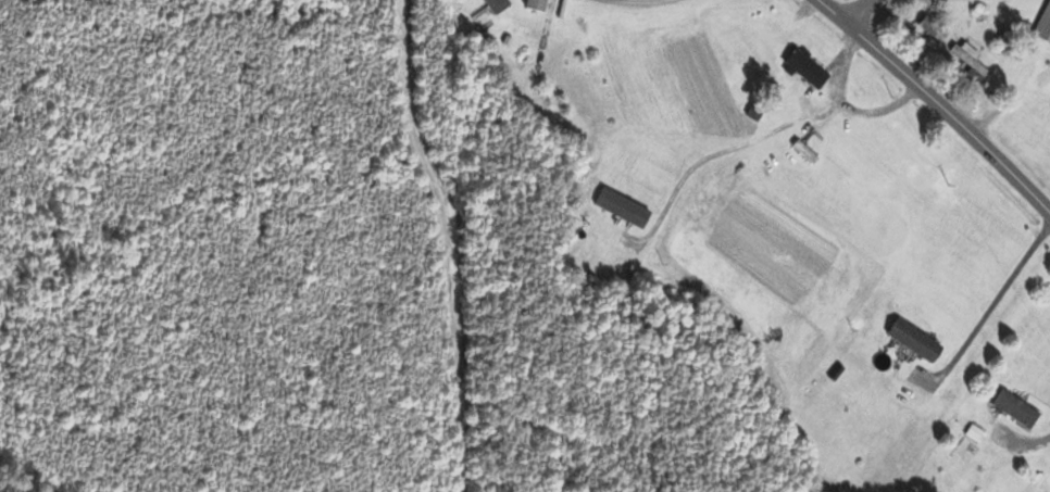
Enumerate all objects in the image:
road: (818, 0)
road: (630, 3)
building: (532, 5)
road: (863, 14)
building: (1042, 26)
building: (930, 31)
building: (967, 60)
building: (804, 70)
road: (937, 101)
road: (850, 110)
road: (726, 154)
road: (453, 241)
road: (992, 305)
building: (911, 342)
building: (1014, 412)
road: (1033, 446)

